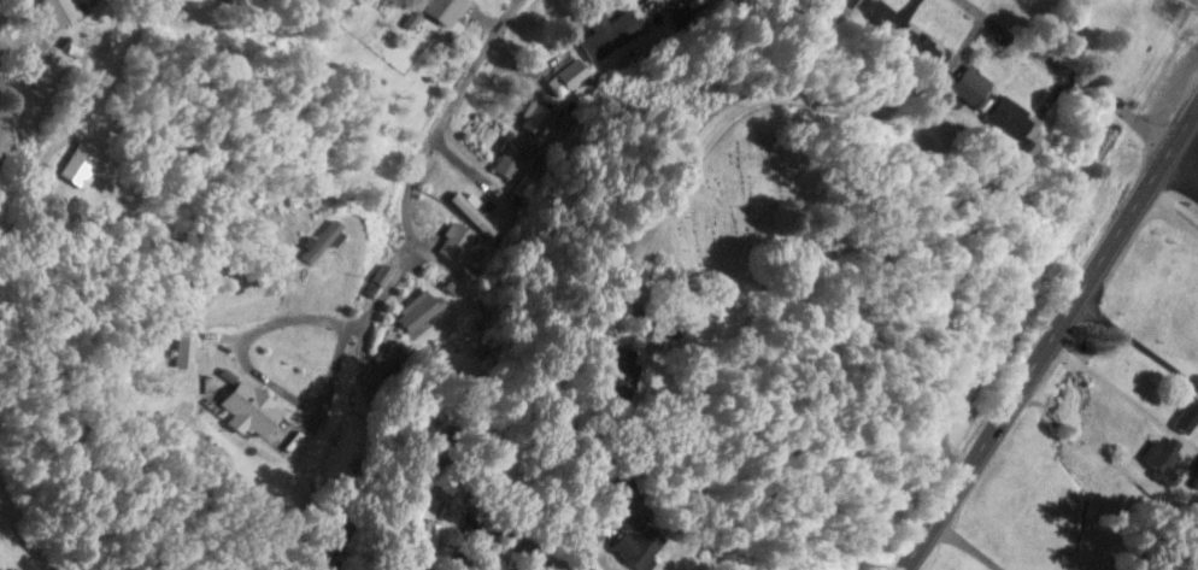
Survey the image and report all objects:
building: (691, 1)
building: (450, 10)
building: (65, 12)
building: (871, 12)
building: (922, 45)
road: (1074, 74)
building: (974, 83)
building: (1011, 117)
building: (535, 118)
road: (83, 145)
road: (427, 149)
building: (510, 155)
building: (88, 161)
building: (483, 199)
building: (327, 239)
building: (457, 240)
building: (383, 272)
building: (417, 307)
road: (1050, 341)
building: (392, 358)
building: (256, 410)
building: (1188, 416)
building: (1164, 453)
building: (633, 484)
road: (39, 517)
building: (650, 546)

